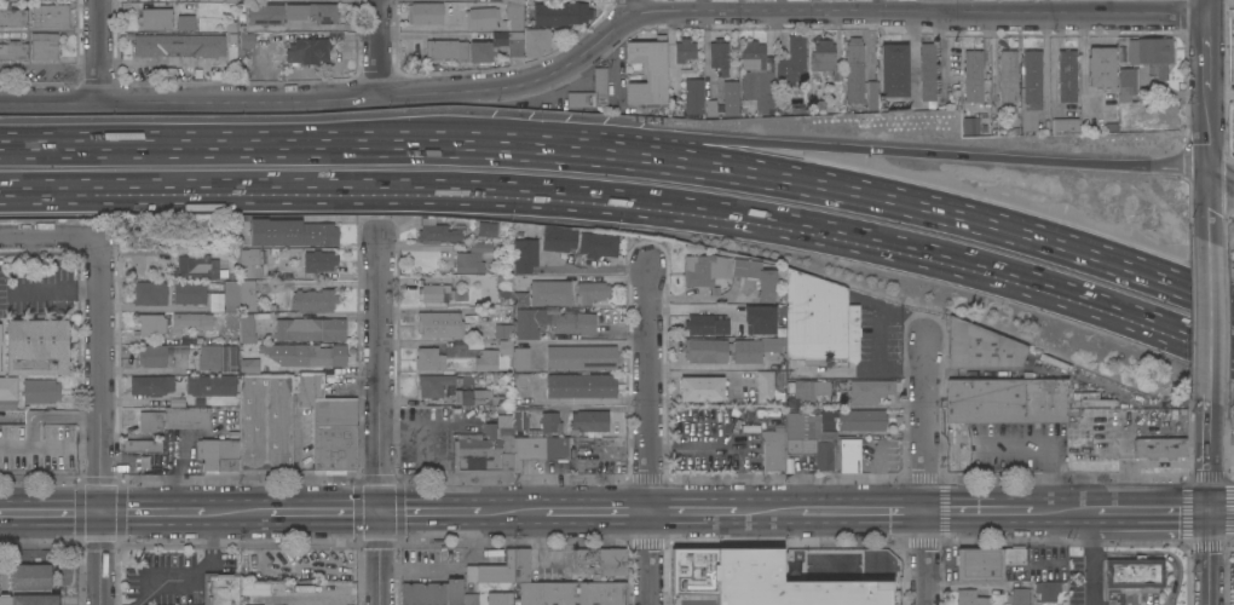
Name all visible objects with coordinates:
building: (231, 0)
park: (1232, 2)
road: (939, 6)
road: (1210, 6)
road: (628, 10)
building: (323, 12)
building: (563, 12)
building: (186, 13)
building: (265, 13)
building: (425, 13)
building: (513, 15)
building: (12, 16)
building: (51, 16)
building: (482, 17)
building: (155, 18)
road: (428, 35)
building: (246, 39)
building: (541, 40)
road: (602, 40)
building: (44, 45)
building: (178, 45)
road: (379, 47)
building: (13, 50)
building: (308, 50)
building: (472, 50)
building: (685, 50)
road: (99, 51)
building: (1152, 53)
building: (719, 54)
building: (752, 54)
road: (1210, 56)
building: (513, 57)
building: (825, 58)
road: (1082, 59)
building: (791, 60)
building: (1101, 65)
building: (854, 69)
building: (893, 69)
road: (584, 70)
building: (647, 70)
building: (927, 70)
road: (612, 71)
building: (973, 75)
building: (1008, 75)
building: (1067, 75)
building: (1031, 79)
building: (1128, 82)
building: (760, 87)
building: (592, 92)
building: (871, 94)
building: (693, 96)
building: (730, 97)
road: (1222, 98)
building: (1109, 110)
building: (1042, 120)
building: (970, 125)
building: (1066, 125)
road: (693, 137)
road: (90, 145)
road: (681, 163)
road: (1206, 169)
road: (1221, 172)
road: (627, 201)
building: (486, 229)
building: (437, 231)
building: (290, 232)
building: (142, 235)
building: (578, 243)
building: (479, 247)
building: (524, 255)
building: (261, 257)
building: (318, 260)
building: (247, 261)
building: (468, 263)
building: (197, 267)
road: (601, 269)
building: (702, 270)
building: (256, 271)
building: (755, 277)
building: (503, 286)
building: (589, 292)
building: (149, 293)
building: (189, 293)
building: (434, 293)
building: (549, 293)
road: (1201, 293)
building: (230, 295)
building: (246, 295)
building: (313, 299)
building: (519, 299)
road: (156, 306)
building: (757, 319)
building: (190, 321)
building: (818, 321)
building: (526, 322)
road: (102, 323)
building: (572, 323)
building: (698, 323)
building: (149, 324)
building: (439, 324)
building: (308, 328)
building: (502, 330)
road: (1207, 330)
building: (186, 339)
road: (877, 339)
building: (473, 342)
building: (36, 346)
building: (250, 346)
building: (503, 346)
building: (978, 347)
building: (754, 348)
building: (705, 350)
building: (157, 353)
building: (313, 355)
building: (218, 357)
building: (581, 357)
building: (520, 358)
building: (428, 359)
building: (486, 359)
building: (1051, 362)
road: (863, 371)
road: (380, 374)
building: (150, 385)
building: (211, 385)
building: (433, 385)
building: (581, 385)
building: (520, 386)
building: (763, 386)
building: (7, 388)
building: (700, 388)
building: (865, 390)
building: (40, 391)
building: (1086, 394)
building: (475, 397)
building: (1005, 399)
building: (1095, 402)
building: (7, 404)
building: (520, 416)
building: (174, 417)
building: (329, 420)
building: (588, 420)
building: (265, 421)
building: (549, 422)
building: (825, 422)
building: (232, 423)
road: (650, 434)
building: (211, 436)
building: (36, 445)
parking lot: (36, 445)
building: (142, 445)
building: (1159, 446)
road: (1019, 448)
building: (772, 449)
building: (483, 451)
building: (542, 451)
building: (797, 451)
building: (218, 454)
building: (849, 456)
road: (1210, 465)
road: (927, 471)
road: (1222, 508)
road: (1154, 509)
traffic signals: (1211, 509)
road: (979, 511)
road: (1065, 511)
road: (156, 512)
road: (240, 512)
road: (598, 512)
road: (692, 512)
road: (864, 512)
road: (51, 513)
traffic signals: (102, 513)
road: (324, 513)
traffic signals: (380, 513)
road: (429, 513)
road: (512, 513)
road: (768, 513)
road: (1211, 557)
building: (732, 558)
road: (1090, 558)
road: (102, 559)
road: (380, 559)
building: (602, 560)
building: (824, 560)
building: (773, 561)
building: (986, 561)
building: (520, 564)
road: (191, 569)
building: (491, 570)
building: (1135, 572)
building: (737, 578)
building: (30, 586)
building: (220, 588)
building: (769, 590)
building: (432, 592)
building: (572, 592)
building: (865, 593)
building: (1019, 594)
building: (732, 595)
building: (1233, 595)
building: (970, 597)
building: (488, 598)

